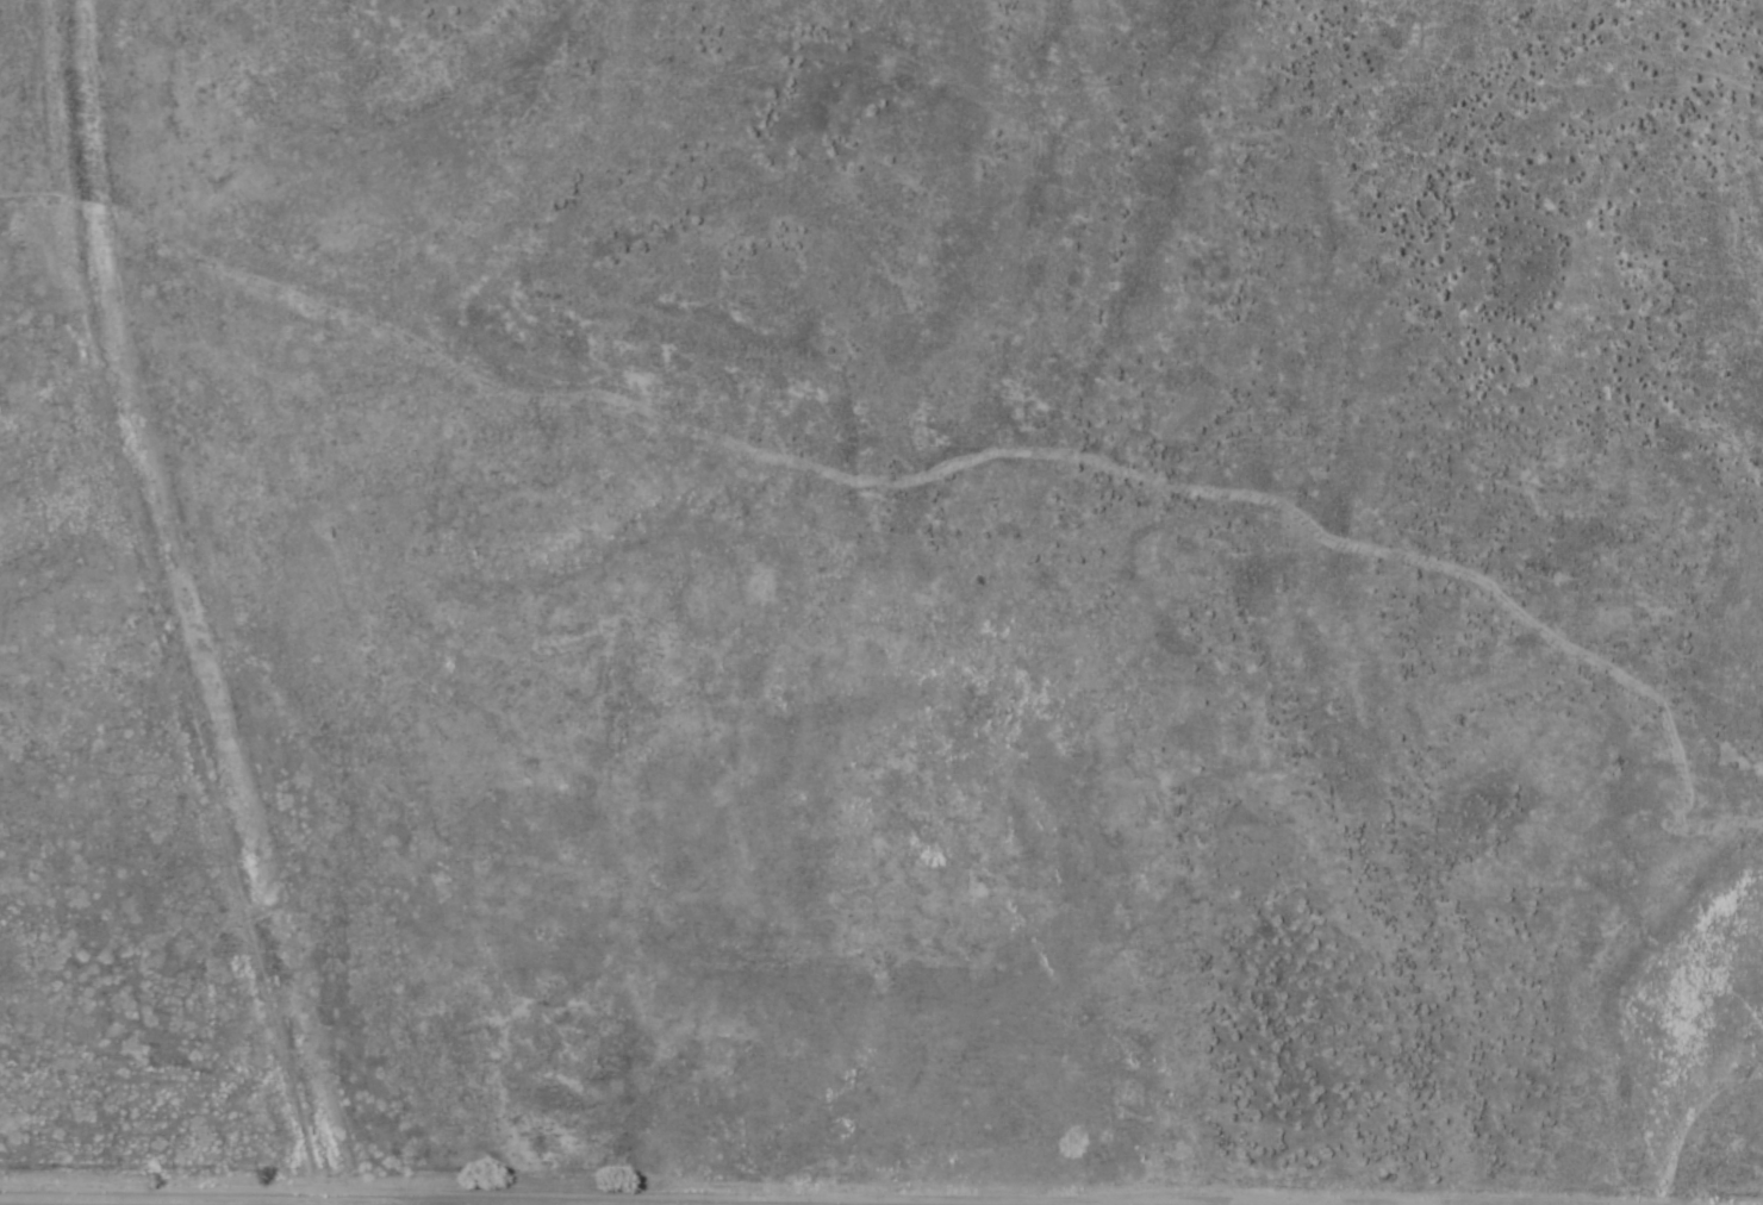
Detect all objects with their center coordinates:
road: (157, 1190)

